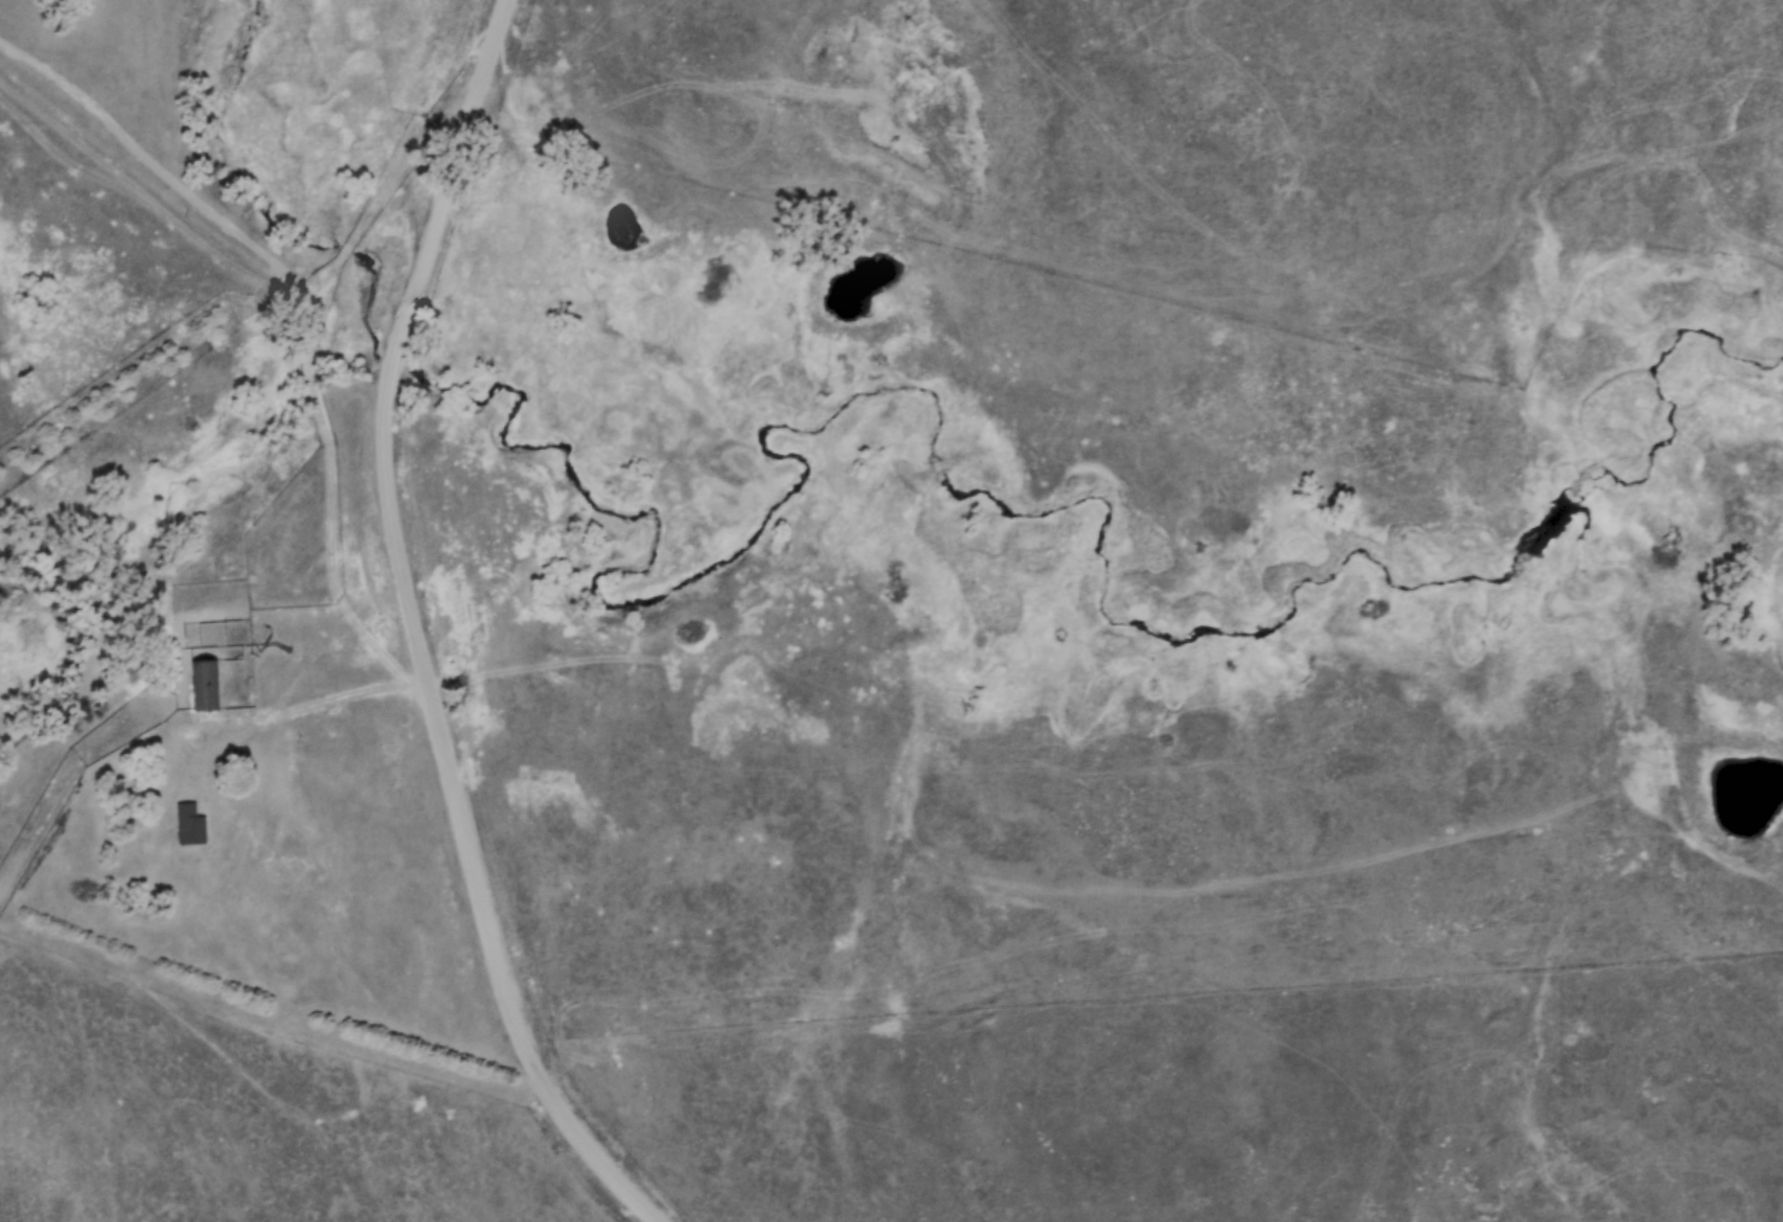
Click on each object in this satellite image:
road: (308, 275)
road: (419, 630)
building: (203, 686)
road: (304, 704)
building: (188, 825)

